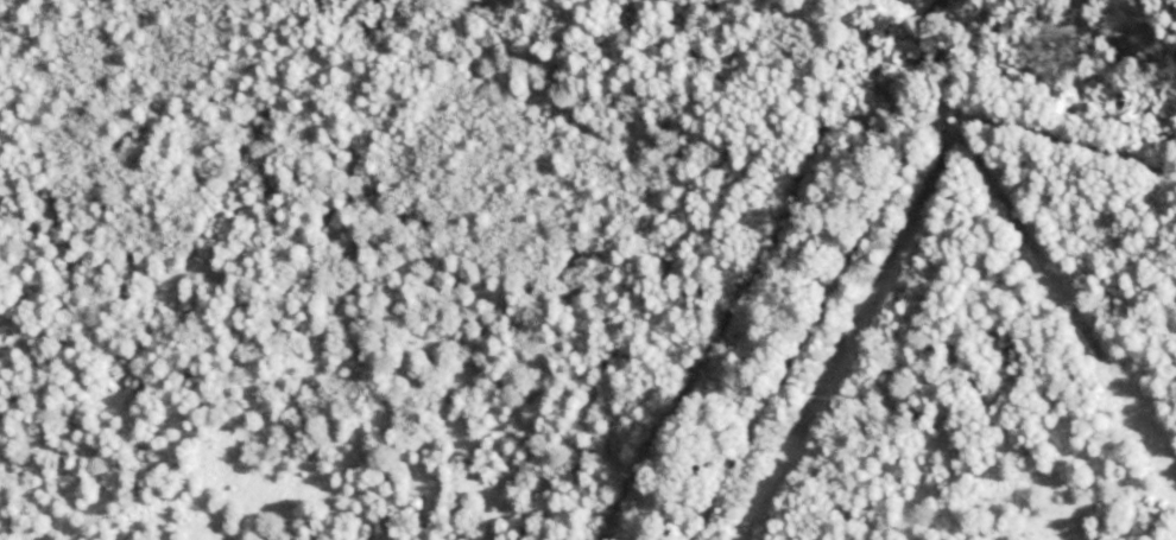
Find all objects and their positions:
road: (816, 318)

